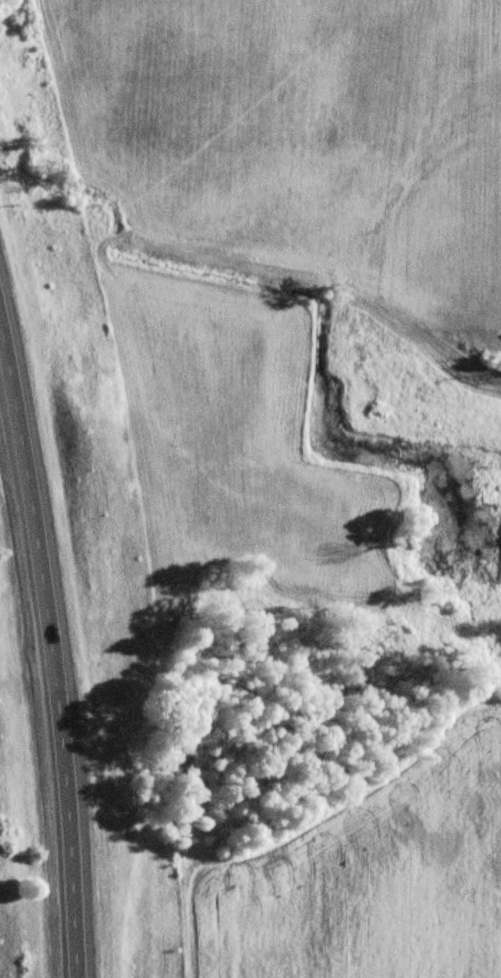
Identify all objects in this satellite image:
road: (2, 351)
road: (49, 651)

